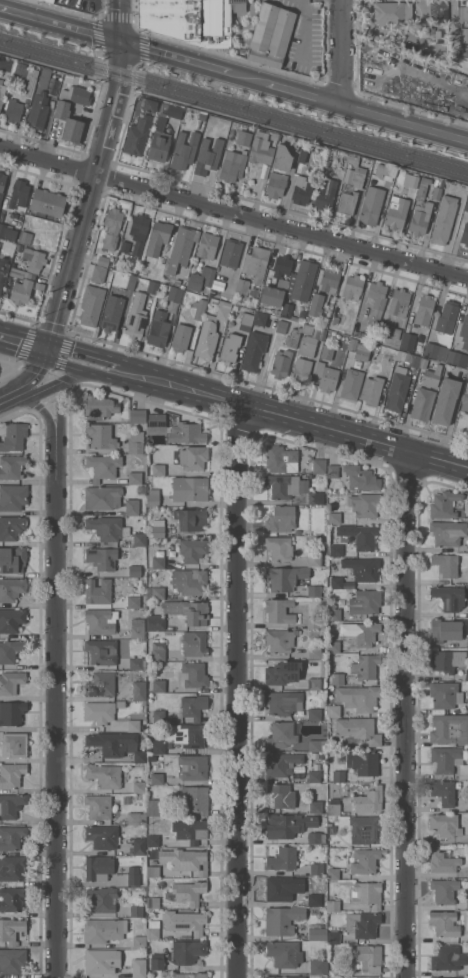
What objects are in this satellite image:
building: (50, 0)
road: (302, 1)
building: (463, 10)
building: (438, 11)
building: (391, 12)
building: (189, 20)
road: (121, 21)
road: (60, 25)
road: (454, 27)
road: (308, 31)
building: (271, 34)
building: (464, 34)
road: (241, 36)
traffic signals: (121, 42)
road: (340, 51)
road: (230, 72)
building: (26, 76)
building: (466, 83)
building: (2, 92)
building: (76, 94)
building: (40, 101)
railway: (234, 102)
building: (149, 104)
road: (110, 108)
building: (171, 109)
building: (13, 110)
railway: (234, 111)
building: (202, 116)
building: (68, 122)
road: (404, 122)
building: (138, 135)
building: (274, 135)
building: (243, 137)
building: (158, 147)
building: (261, 148)
building: (184, 149)
building: (208, 155)
building: (302, 155)
building: (282, 157)
building: (360, 160)
building: (232, 165)
building: (386, 170)
building: (355, 176)
building: (411, 179)
building: (373, 180)
building: (2, 184)
building: (276, 184)
building: (422, 188)
building: (302, 190)
building: (325, 192)
building: (436, 192)
building: (19, 193)
building: (47, 201)
building: (347, 202)
building: (466, 203)
building: (371, 204)
building: (396, 211)
road: (233, 213)
building: (420, 217)
building: (444, 219)
building: (112, 227)
building: (7, 231)
building: (139, 232)
building: (464, 234)
building: (25, 237)
building: (158, 237)
building: (207, 245)
building: (5, 246)
building: (182, 247)
building: (124, 250)
building: (231, 252)
building: (34, 259)
building: (103, 260)
road: (71, 262)
building: (257, 263)
building: (17, 264)
building: (282, 265)
building: (134, 270)
building: (3, 271)
building: (22, 273)
building: (98, 273)
building: (201, 279)
building: (302, 280)
building: (330, 280)
building: (131, 281)
building: (39, 285)
building: (353, 285)
building: (243, 286)
building: (153, 287)
building: (21, 291)
building: (173, 293)
building: (272, 295)
building: (376, 300)
building: (254, 302)
building: (399, 302)
building: (91, 304)
building: (315, 304)
building: (199, 308)
building: (424, 309)
building: (288, 311)
building: (112, 312)
building: (136, 315)
building: (447, 317)
building: (260, 318)
building: (246, 321)
building: (282, 326)
building: (158, 328)
building: (307, 328)
building: (211, 330)
building: (464, 331)
building: (390, 332)
building: (181, 337)
building: (292, 337)
building: (408, 341)
road: (23, 342)
building: (353, 344)
building: (307, 345)
building: (230, 347)
traffic signals: (47, 349)
building: (254, 350)
building: (436, 351)
building: (327, 352)
building: (362, 352)
building: (388, 357)
building: (458, 358)
building: (423, 362)
building: (281, 363)
road: (101, 365)
building: (301, 370)
building: (432, 376)
building: (328, 378)
road: (29, 379)
road: (63, 380)
building: (401, 380)
building: (351, 383)
building: (372, 390)
road: (59, 400)
building: (446, 400)
building: (465, 401)
road: (8, 403)
building: (423, 403)
building: (99, 407)
road: (40, 408)
building: (138, 415)
building: (156, 423)
road: (312, 427)
building: (186, 432)
building: (100, 435)
building: (13, 437)
building: (136, 442)
building: (191, 457)
building: (281, 458)
building: (103, 465)
building: (319, 465)
building: (11, 466)
building: (160, 469)
building: (333, 470)
building: (135, 477)
building: (361, 477)
building: (282, 485)
building: (190, 488)
building: (13, 497)
building: (102, 497)
building: (314, 497)
building: (153, 500)
building: (365, 503)
building: (444, 504)
building: (132, 506)
building: (466, 507)
building: (334, 517)
building: (193, 518)
building: (281, 518)
building: (11, 527)
building: (107, 527)
building: (158, 527)
building: (447, 532)
building: (366, 536)
building: (139, 538)
building: (279, 547)
building: (193, 549)
building: (336, 549)
building: (102, 557)
building: (12, 559)
building: (314, 559)
building: (158, 561)
building: (446, 564)
building: (363, 568)
building: (135, 570)
building: (285, 577)
building: (190, 580)
building: (335, 581)
building: (11, 588)
building: (314, 590)
building: (97, 591)
building: (156, 592)
building: (449, 596)
building: (133, 601)
building: (365, 601)
building: (279, 610)
building: (195, 611)
building: (333, 612)
building: (11, 619)
building: (101, 620)
building: (156, 621)
building: (317, 621)
building: (137, 628)
building: (446, 629)
building: (366, 633)
building: (280, 639)
building: (467, 642)
building: (194, 643)
building: (335, 645)
building: (11, 650)
building: (158, 650)
building: (102, 651)
building: (316, 652)
building: (447, 659)
building: (137, 663)
building: (365, 665)
building: (282, 672)
building: (466, 673)
building: (193, 675)
building: (337, 678)
building: (10, 682)
building: (317, 682)
building: (100, 684)
building: (158, 685)
building: (139, 690)
road: (237, 692)
building: (445, 694)
building: (358, 696)
building: (282, 701)
road: (57, 703)
building: (120, 704)
building: (193, 705)
building: (333, 710)
building: (99, 711)
building: (12, 712)
building: (314, 714)
building: (159, 716)
road: (409, 717)
building: (136, 722)
building: (449, 728)
building: (358, 729)
building: (187, 734)
building: (282, 734)
building: (14, 744)
building: (118, 744)
building: (317, 745)
building: (158, 747)
building: (449, 760)
building: (363, 762)
building: (281, 763)
building: (193, 766)
building: (11, 774)
building: (104, 774)
building: (339, 775)
building: (314, 776)
building: (157, 778)
building: (139, 787)
building: (444, 792)
building: (282, 794)
building: (195, 798)
building: (369, 798)
building: (11, 804)
building: (98, 806)
building: (152, 806)
building: (315, 806)
building: (334, 806)
building: (133, 818)
building: (288, 824)
building: (445, 824)
building: (331, 827)
building: (365, 829)
building: (190, 830)
building: (102, 836)
building: (11, 837)
building: (316, 837)
building: (153, 840)
building: (139, 845)
building: (282, 858)
building: (185, 859)
building: (365, 860)
building: (442, 860)
building: (12, 867)
building: (98, 867)
building: (316, 868)
building: (153, 871)
building: (333, 873)
building: (134, 875)
building: (278, 888)
building: (443, 890)
building: (187, 892)
building: (367, 893)
building: (12, 898)
building: (102, 898)
building: (314, 899)
building: (153, 901)
building: (467, 903)
building: (334, 905)
building: (136, 910)
building: (282, 919)
building: (185, 921)
building: (446, 923)
building: (363, 924)
building: (104, 929)
building: (153, 929)
building: (11, 930)
building: (316, 931)
building: (333, 937)
building: (139, 940)
building: (187, 951)
building: (284, 953)
building: (367, 957)
building: (448, 957)
building: (12, 960)
building: (100, 960)
building: (157, 961)
building: (318, 966)
building: (139, 968)
building: (186, 975)
building: (286, 976)
building: (368, 977)
building: (447, 977)

